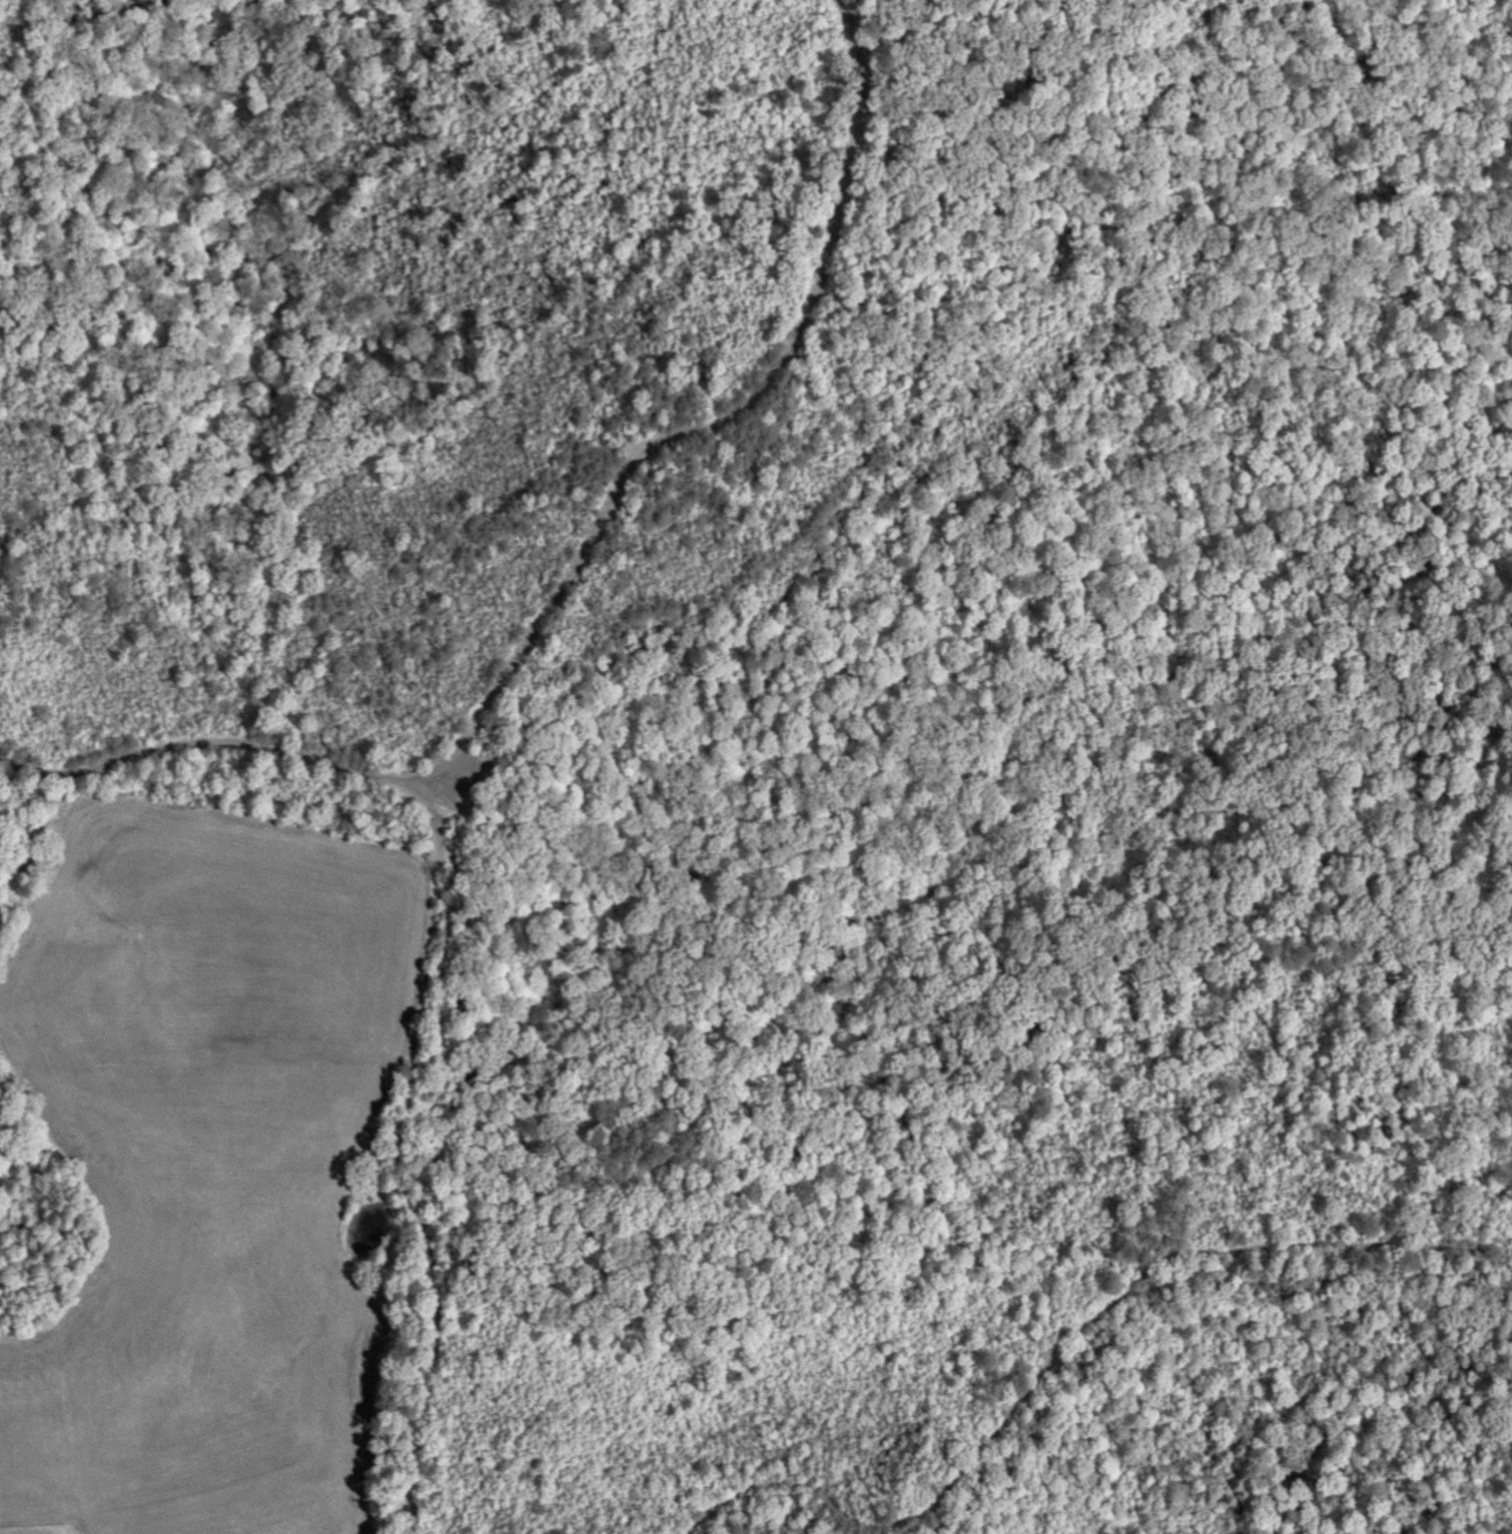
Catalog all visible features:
road: (672, 442)
road: (164, 751)

